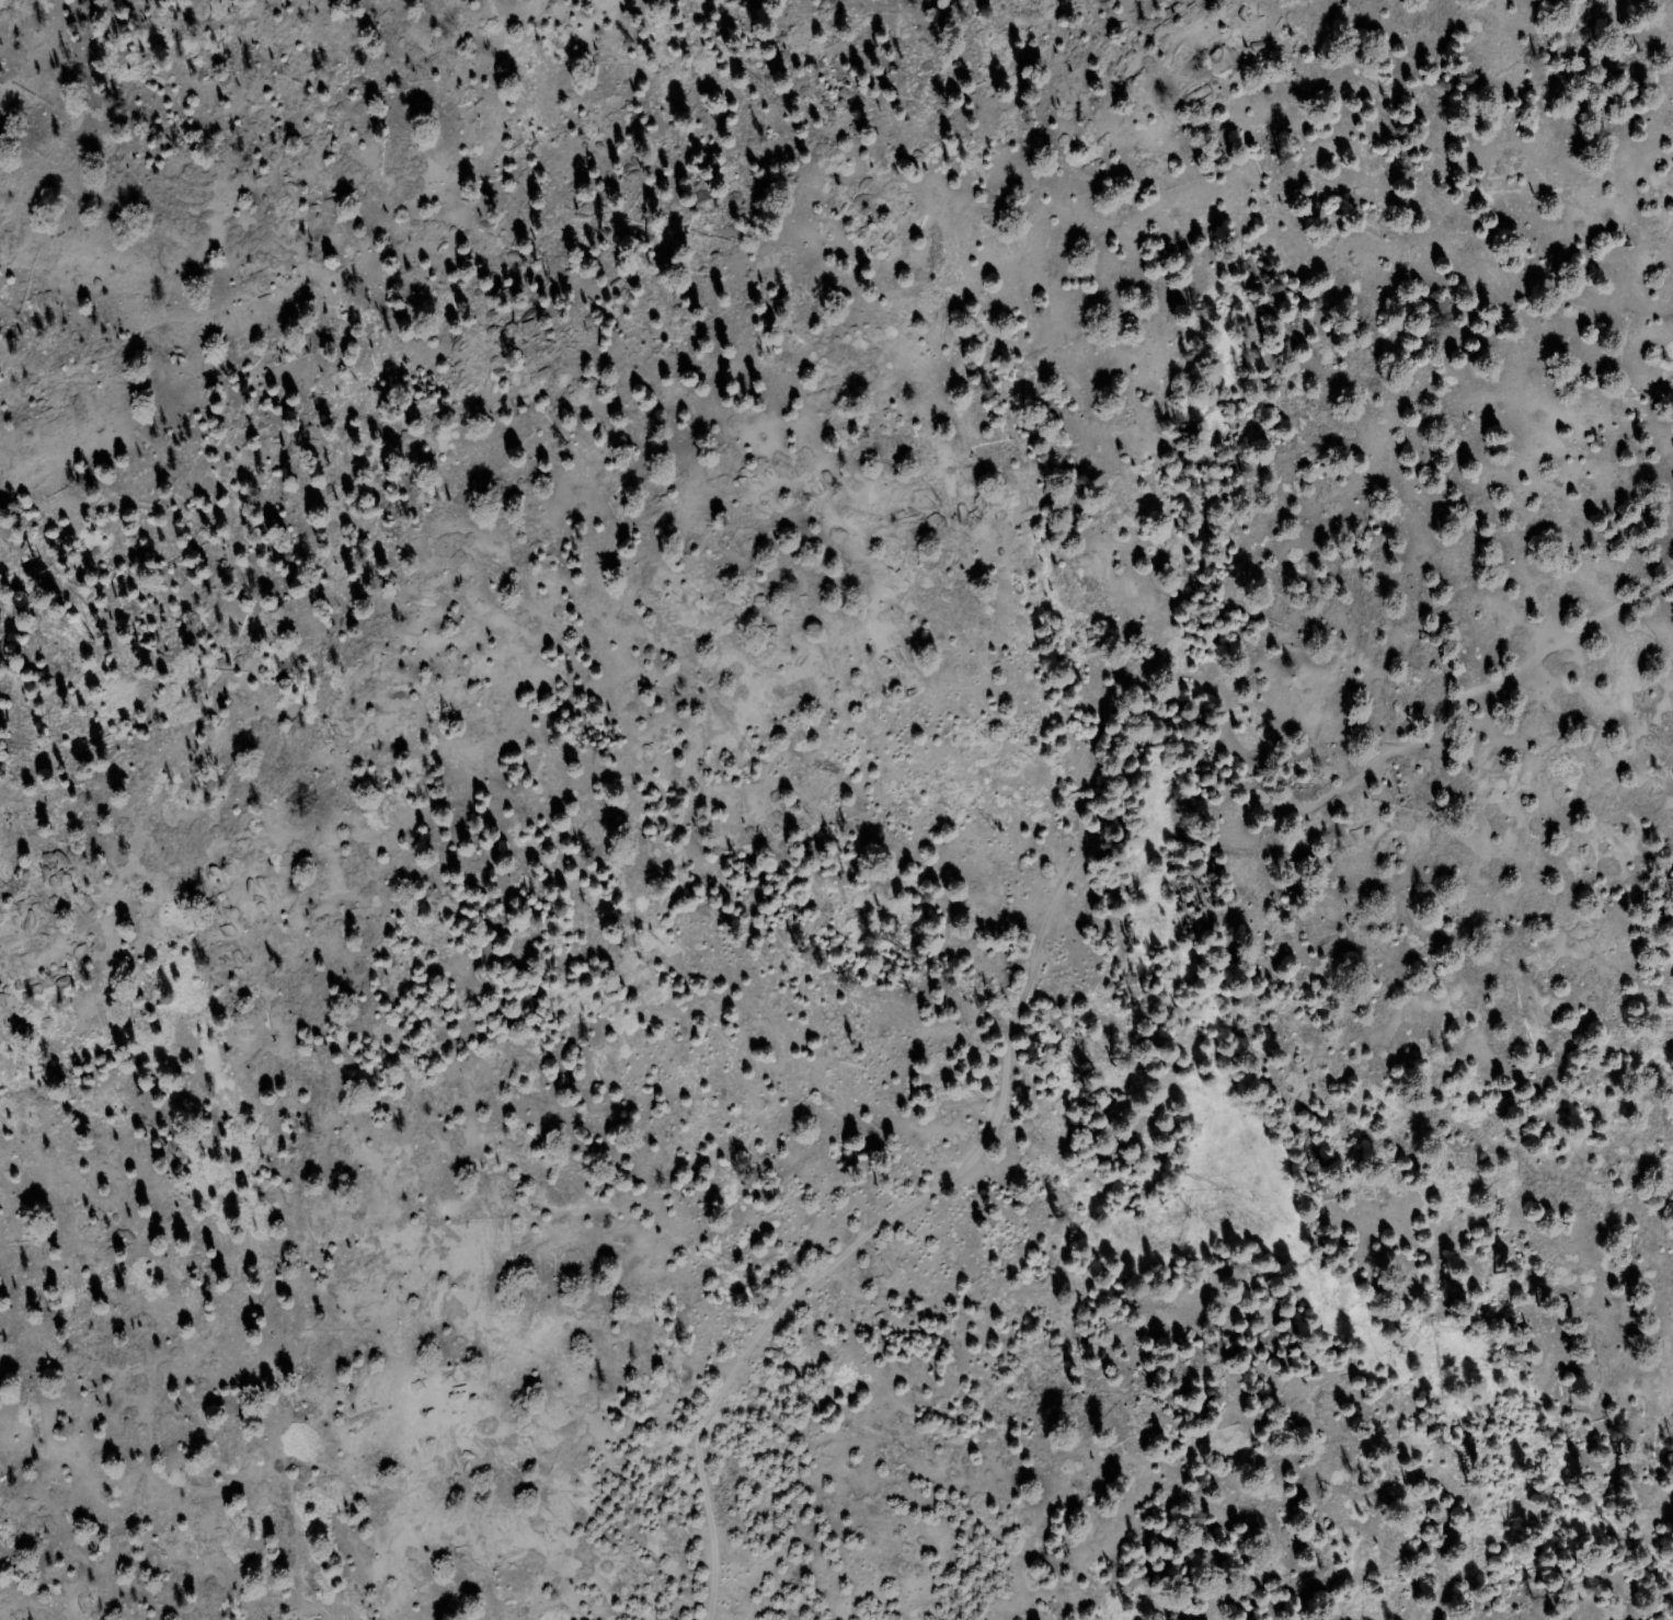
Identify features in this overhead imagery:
building: (1302, 277)
road: (1414, 740)
road: (959, 1164)
building: (1650, 1525)

